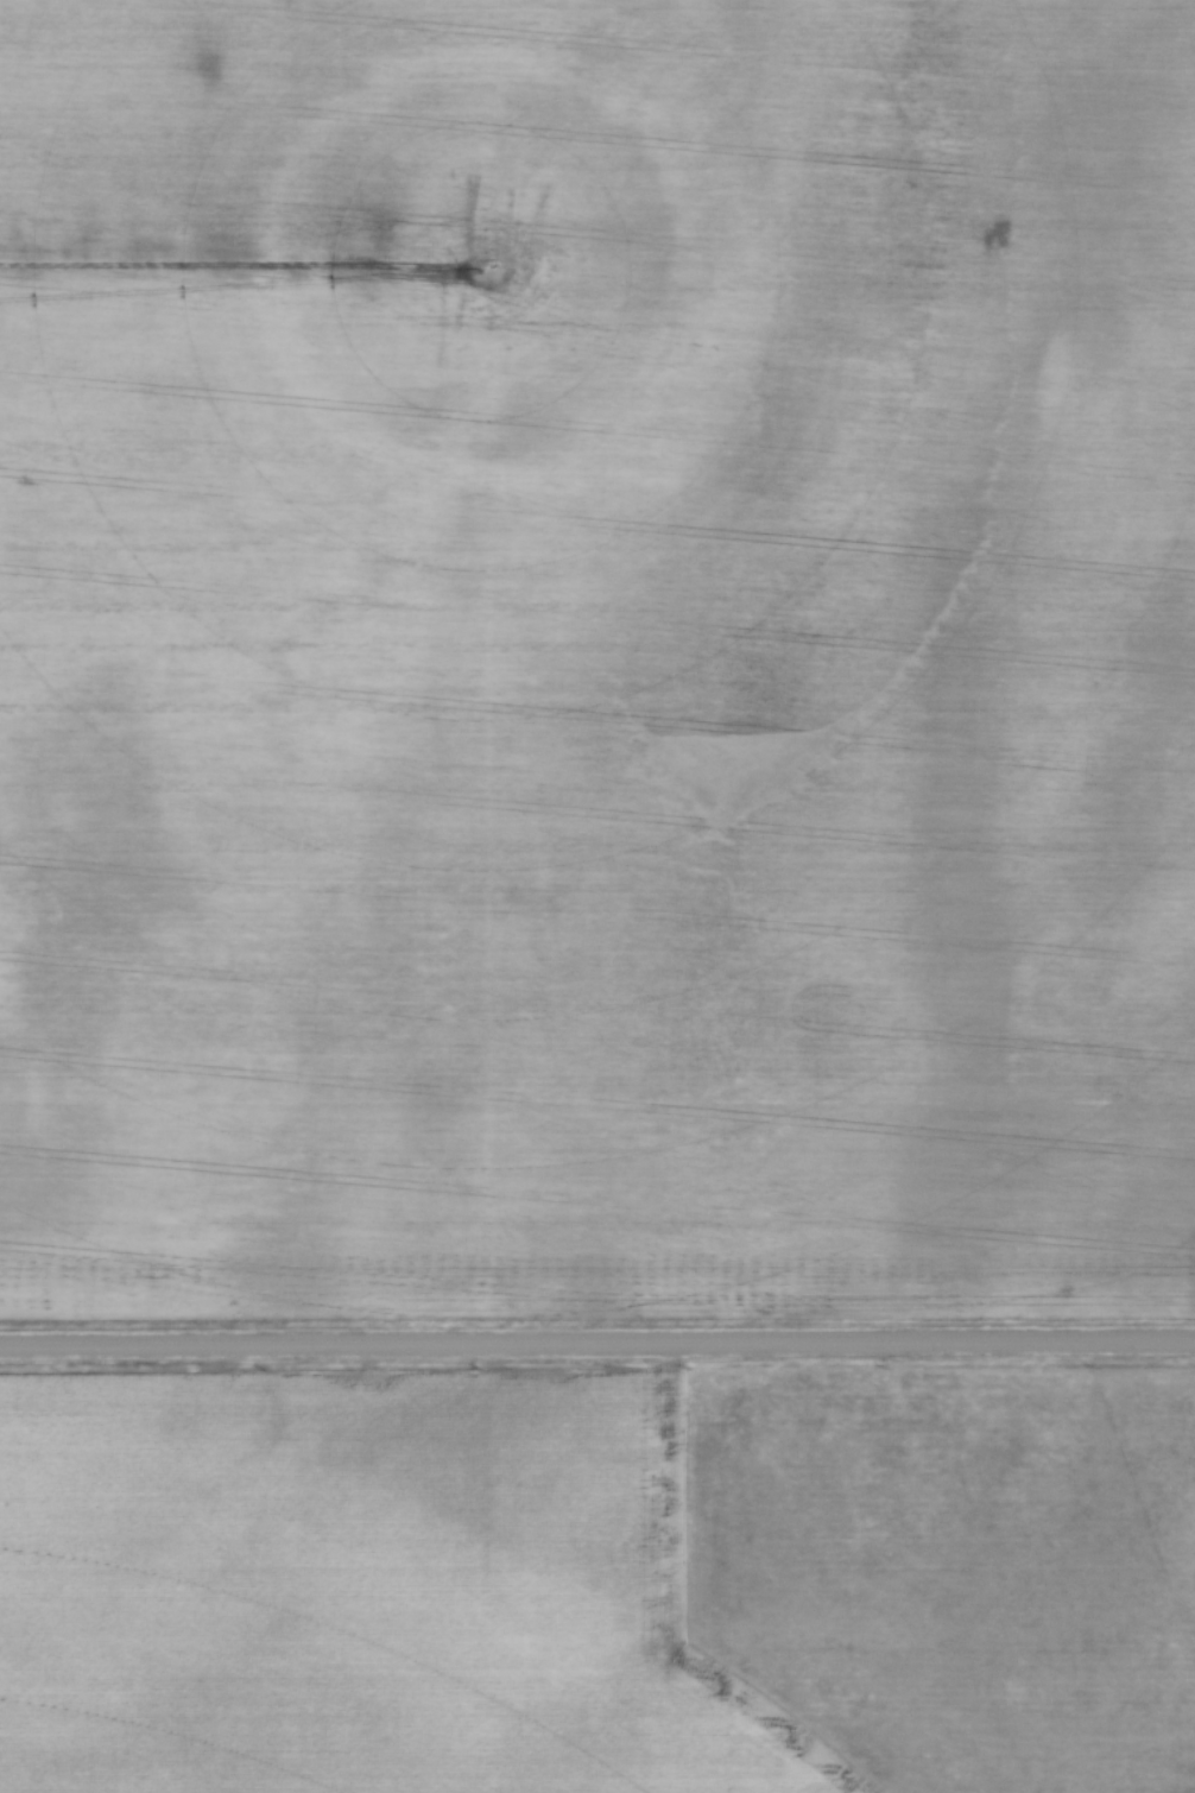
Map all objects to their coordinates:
road: (597, 1347)

